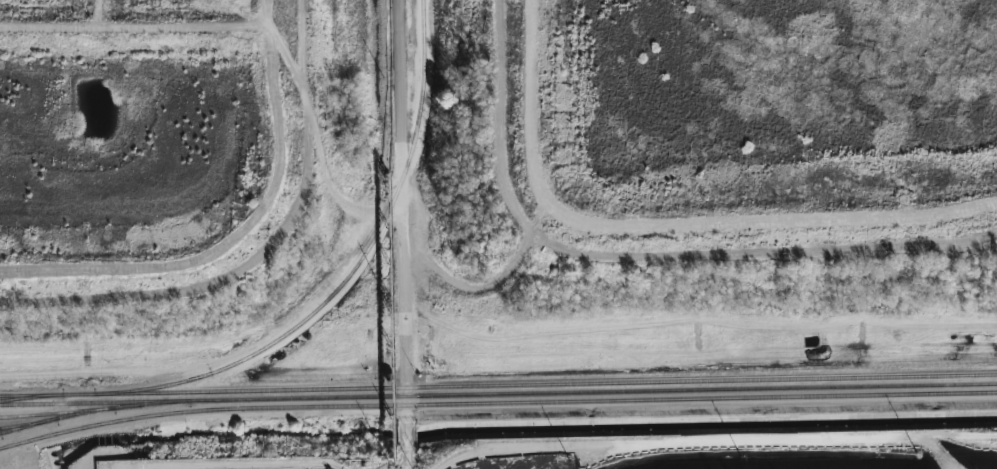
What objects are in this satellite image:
road: (312, 124)
road: (665, 225)
road: (403, 234)
railway: (349, 274)
road: (485, 290)
road: (234, 355)
railway: (655, 381)
railway: (604, 391)
railway: (204, 392)
railway: (46, 394)
railway: (31, 396)
railway: (83, 402)
railway: (496, 402)
railway: (104, 407)
railway: (48, 412)
railway: (19, 424)

